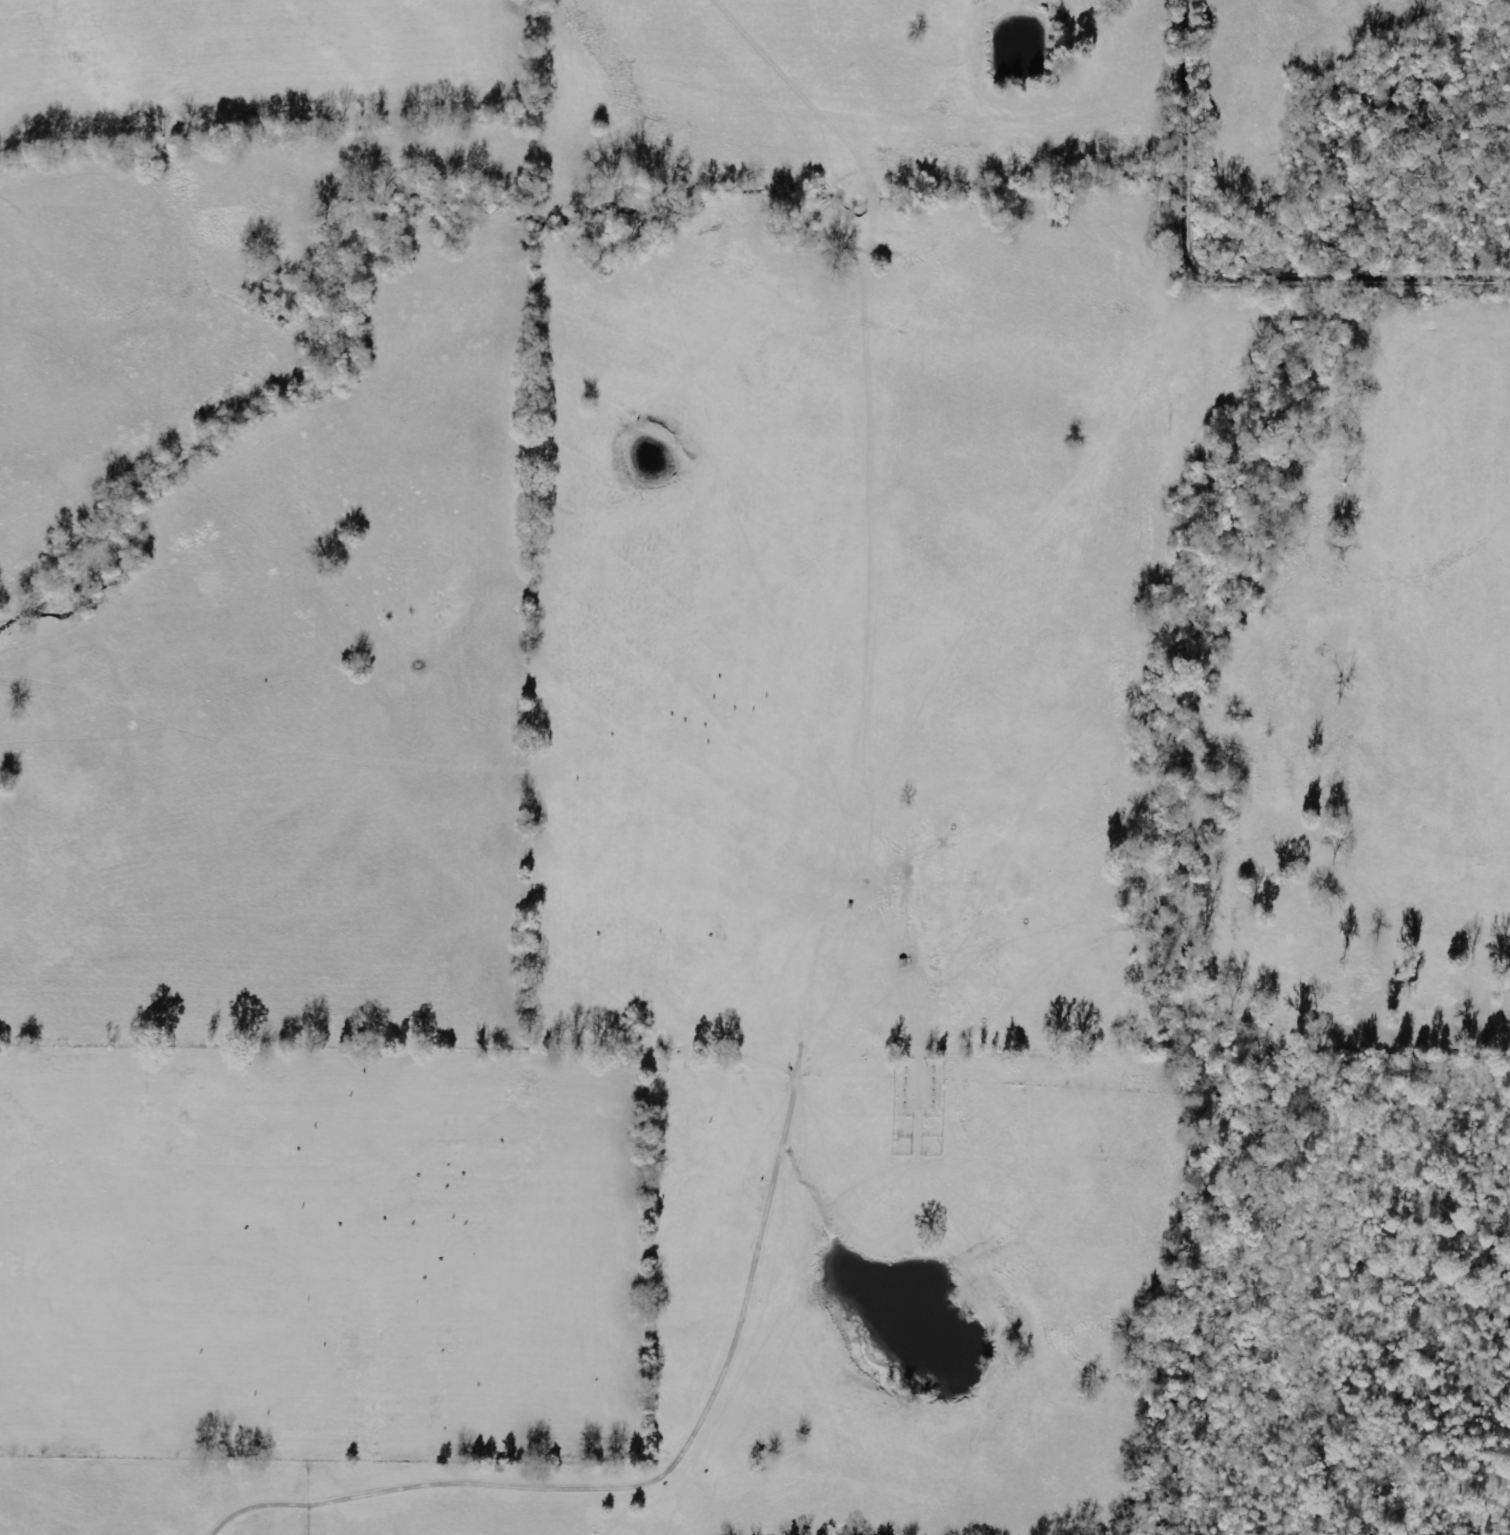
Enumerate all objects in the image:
road: (1218, 275)

